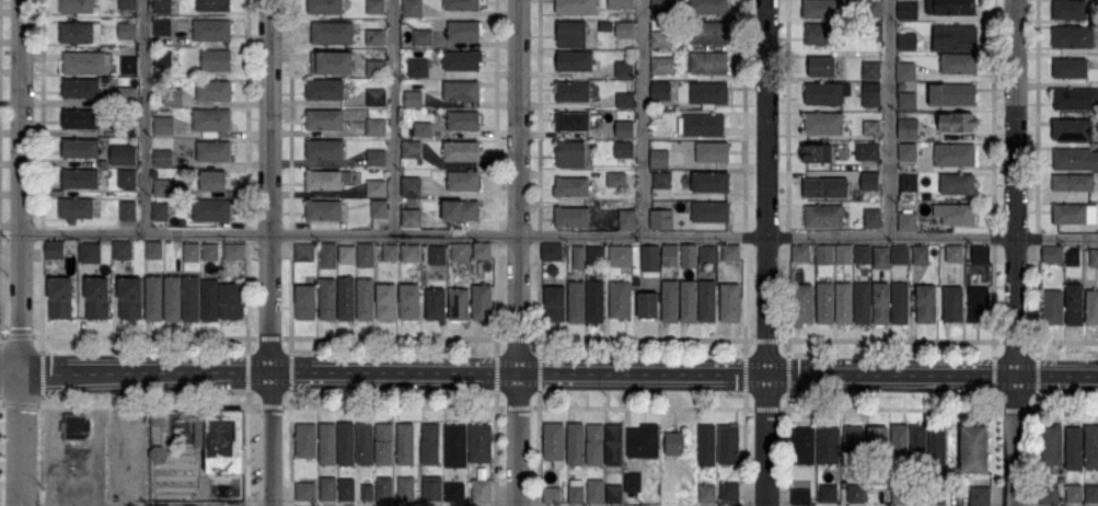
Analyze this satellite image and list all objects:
building: (128, 3)
building: (212, 4)
building: (621, 4)
building: (659, 4)
building: (77, 5)
building: (163, 5)
building: (462, 5)
building: (708, 5)
building: (323, 7)
building: (374, 7)
building: (575, 7)
building: (949, 7)
building: (412, 8)
building: (871, 8)
building: (820, 9)
building: (1070, 10)
building: (908, 11)
building: (163, 27)
building: (128, 30)
building: (211, 30)
building: (624, 30)
building: (464, 31)
building: (77, 32)
building: (331, 32)
building: (571, 33)
building: (708, 33)
building: (872, 33)
building: (823, 34)
building: (1071, 36)
building: (374, 37)
building: (424, 37)
building: (660, 38)
building: (955, 38)
building: (906, 42)
building: (163, 58)
building: (217, 60)
building: (462, 60)
building: (573, 61)
building: (84, 62)
building: (332, 62)
building: (707, 62)
building: (958, 62)
building: (128, 65)
building: (663, 65)
building: (821, 66)
building: (418, 67)
building: (374, 68)
building: (1068, 68)
building: (624, 69)
building: (871, 70)
building: (905, 71)
building: (900, 87)
building: (80, 89)
building: (324, 90)
building: (661, 90)
building: (213, 91)
building: (461, 91)
building: (575, 91)
building: (825, 92)
building: (708, 94)
building: (952, 94)
building: (127, 96)
building: (173, 96)
building: (375, 96)
building: (870, 99)
building: (1070, 99)
building: (414, 100)
building: (624, 101)
building: (906, 101)
building: (667, 106)
building: (154, 112)
building: (672, 114)
road: (20, 116)
road: (143, 116)
road: (393, 117)
road: (644, 117)
building: (81, 118)
road: (890, 118)
building: (323, 119)
building: (211, 120)
building: (463, 120)
building: (573, 122)
building: (955, 122)
building: (822, 123)
building: (702, 125)
building: (163, 126)
building: (126, 127)
building: (375, 128)
building: (623, 128)
building: (870, 128)
building: (423, 129)
building: (908, 129)
building: (1071, 130)
building: (80, 148)
building: (325, 149)
building: (412, 150)
building: (624, 150)
building: (213, 151)
building: (462, 151)
building: (867, 151)
building: (906, 151)
building: (712, 152)
building: (570, 153)
building: (817, 153)
building: (124, 154)
building: (953, 156)
building: (163, 158)
building: (375, 158)
building: (659, 158)
building: (1074, 160)
building: (102, 163)
building: (80, 179)
building: (127, 179)
building: (213, 180)
building: (326, 180)
building: (615, 180)
building: (661, 180)
building: (463, 182)
building: (709, 182)
building: (1071, 182)
building: (870, 183)
building: (908, 183)
building: (956, 183)
road: (270, 185)
building: (411, 185)
road: (766, 185)
road: (1015, 185)
building: (162, 186)
road: (519, 186)
building: (569, 186)
building: (377, 187)
building: (825, 188)
building: (629, 205)
building: (76, 208)
building: (379, 208)
building: (211, 209)
building: (323, 209)
building: (128, 210)
building: (161, 211)
building: (461, 211)
building: (709, 211)
building: (956, 214)
building: (1068, 214)
building: (823, 216)
building: (571, 217)
building: (412, 218)
building: (872, 218)
building: (626, 219)
building: (659, 219)
building: (908, 221)
road: (558, 234)
building: (56, 250)
building: (234, 250)
building: (123, 251)
building: (154, 251)
building: (192, 251)
building: (482, 251)
building: (90, 252)
building: (210, 252)
building: (303, 252)
building: (390, 252)
building: (460, 252)
building: (552, 252)
building: (347, 253)
building: (409, 253)
building: (730, 253)
building: (800, 253)
building: (670, 254)
building: (707, 254)
building: (824, 254)
building: (844, 254)
building: (863, 254)
building: (980, 254)
building: (1052, 254)
building: (327, 255)
building: (366, 255)
building: (437, 255)
building: (596, 255)
building: (899, 255)
building: (920, 255)
building: (651, 256)
building: (689, 256)
building: (578, 257)
building: (624, 257)
building: (880, 257)
building: (1072, 257)
building: (1094, 257)
building: (97, 296)
building: (60, 298)
building: (131, 298)
building: (173, 298)
building: (365, 298)
building: (154, 299)
building: (190, 299)
building: (210, 299)
building: (346, 299)
building: (327, 300)
building: (620, 300)
building: (670, 300)
building: (707, 300)
road: (19, 301)
building: (231, 301)
building: (386, 301)
building: (409, 301)
building: (482, 301)
building: (577, 301)
building: (687, 301)
building: (304, 302)
building: (596, 302)
building: (730, 302)
building: (825, 302)
building: (843, 302)
building: (862, 302)
building: (899, 302)
building: (436, 303)
building: (554, 303)
building: (880, 303)
building: (926, 303)
building: (1074, 303)
building: (459, 304)
building: (804, 304)
building: (952, 304)
building: (979, 304)
building: (647, 306)
building: (1052, 307)
building: (1091, 307)
road: (9, 369)
road: (67, 371)
road: (194, 372)
road: (684, 372)
building: (158, 418)
building: (74, 426)
road: (19, 438)
road: (271, 439)
road: (518, 439)
road: (766, 439)
building: (878, 439)
road: (1015, 439)
building: (307, 440)
building: (643, 441)
building: (853, 442)
building: (327, 444)
building: (365, 444)
building: (405, 444)
building: (431, 444)
building: (479, 444)
building: (555, 444)
building: (614, 444)
building: (674, 444)
building: (729, 444)
building: (828, 444)
building: (346, 445)
building: (384, 445)
building: (576, 445)
building: (594, 445)
building: (706, 445)
building: (802, 445)
building: (1051, 445)
building: (455, 446)
building: (900, 446)
building: (918, 446)
building: (1090, 446)
road: (119, 448)
building: (937, 448)
building: (1074, 448)
building: (974, 449)
building: (222, 452)
building: (158, 455)
building: (1060, 480)
building: (633, 482)
building: (327, 487)
building: (347, 488)
building: (383, 488)
building: (406, 488)
building: (426, 488)
building: (482, 490)
building: (305, 491)
building: (576, 491)
building: (594, 491)
building: (728, 491)
building: (368, 492)
building: (454, 492)
building: (614, 493)
building: (706, 493)
building: (828, 493)
building: (855, 493)
building: (1073, 493)
building: (1090, 493)
building: (552, 494)
building: (900, 494)
building: (918, 494)
building: (937, 494)
building: (1047, 495)
building: (799, 496)
building: (979, 496)

